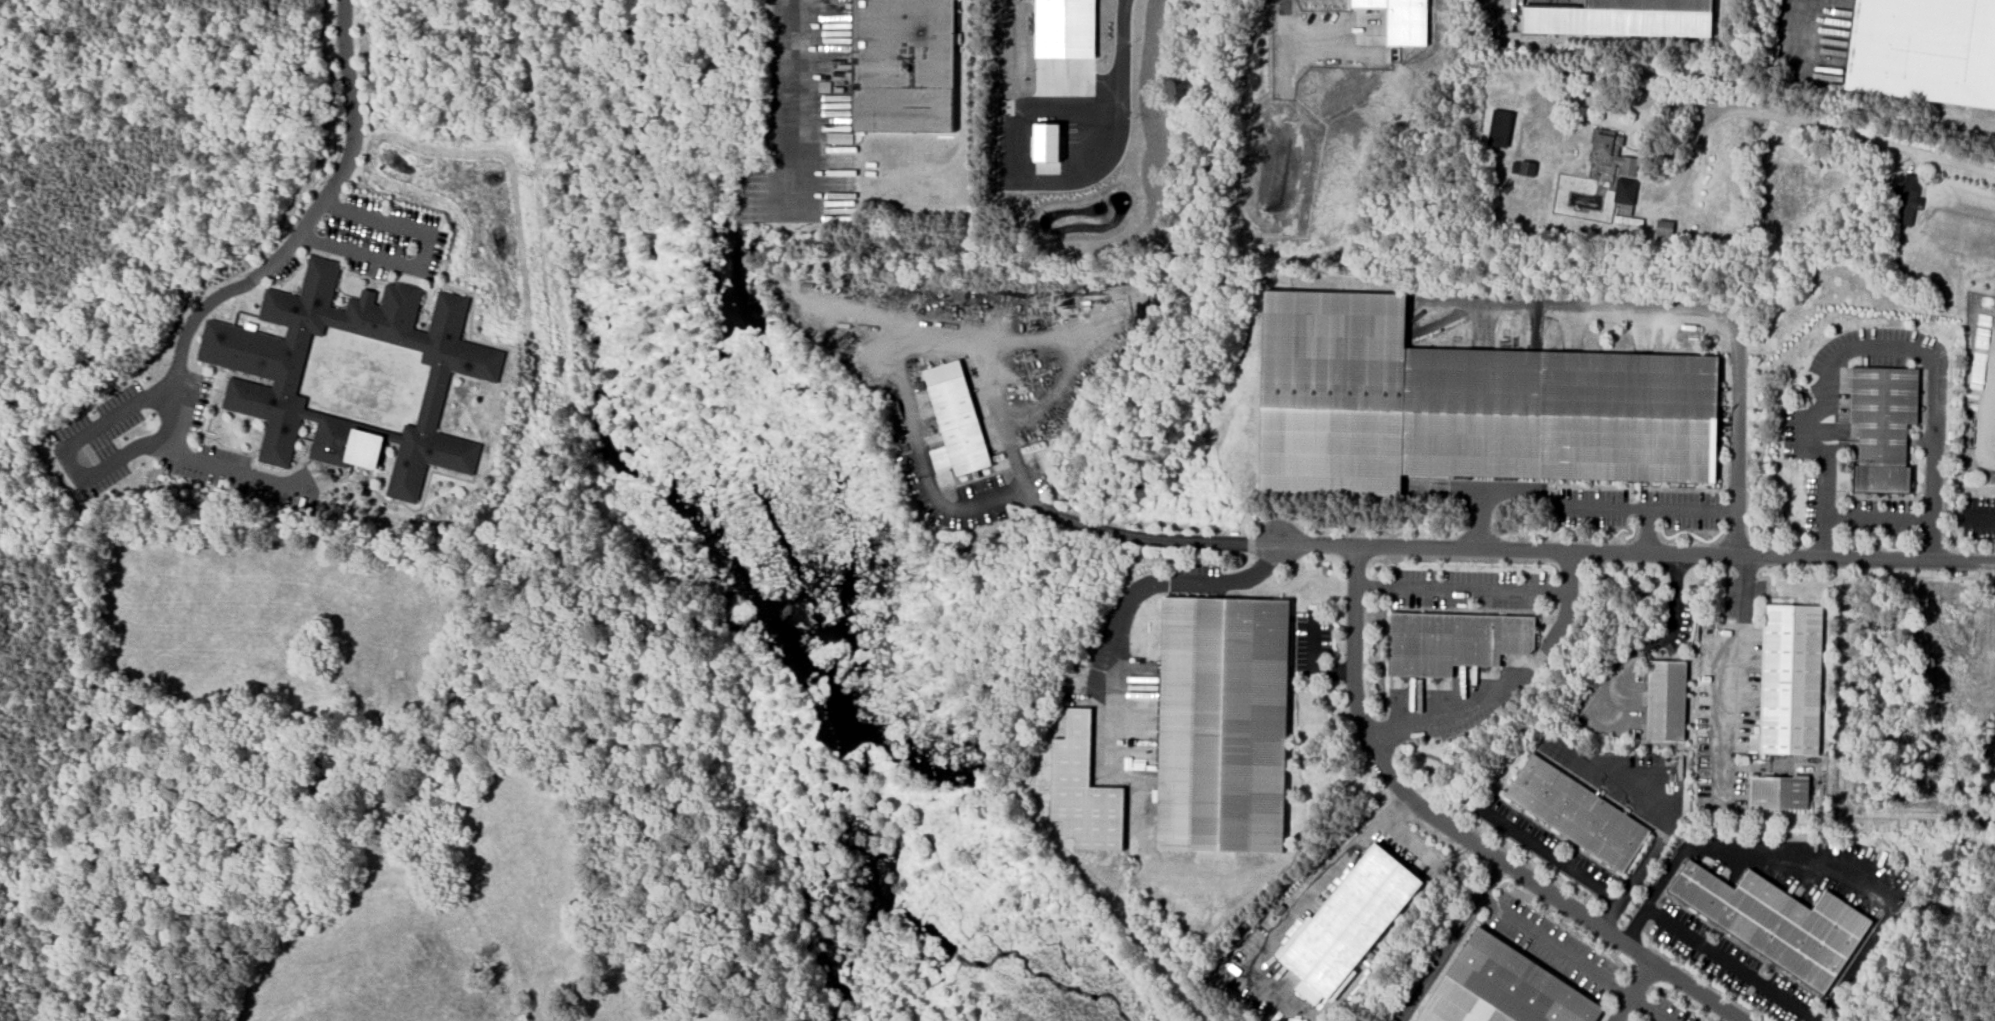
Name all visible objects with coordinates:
road: (1285, 2)
building: (1652, 6)
building: (1402, 19)
building: (1065, 29)
road: (1789, 29)
building: (1925, 49)
road: (1119, 52)
building: (904, 66)
road: (786, 84)
road: (1802, 122)
building: (1497, 127)
building: (1047, 142)
building: (1613, 163)
road: (1020, 166)
building: (1904, 199)
building: (1662, 227)
road: (291, 242)
road: (423, 254)
road: (1695, 309)
road: (979, 340)
road: (1831, 361)
building: (281, 378)
building: (1460, 405)
building: (956, 420)
building: (1880, 426)
road: (1935, 463)
road: (110, 464)
road: (1647, 506)
road: (1054, 512)
road: (1979, 518)
road: (1858, 519)
road: (1647, 531)
road: (1824, 539)
road: (1636, 554)
road: (1459, 589)
street lamp: (1665, 603)
road: (1127, 606)
street lamp: (1661, 629)
building: (1451, 641)
road: (1650, 646)
road: (1313, 662)
road: (1733, 674)
building: (1788, 679)
road: (1508, 684)
building: (1666, 699)
building: (1218, 724)
building: (1079, 789)
building: (1775, 792)
building: (1574, 813)
road: (1666, 822)
road: (1462, 836)
road: (1408, 840)
road: (1548, 854)
road: (1809, 863)
road: (1293, 908)
building: (1348, 921)
building: (1775, 921)
road: (1450, 942)
road: (1575, 958)
road: (1728, 964)
building: (1503, 988)
road: (1633, 991)

